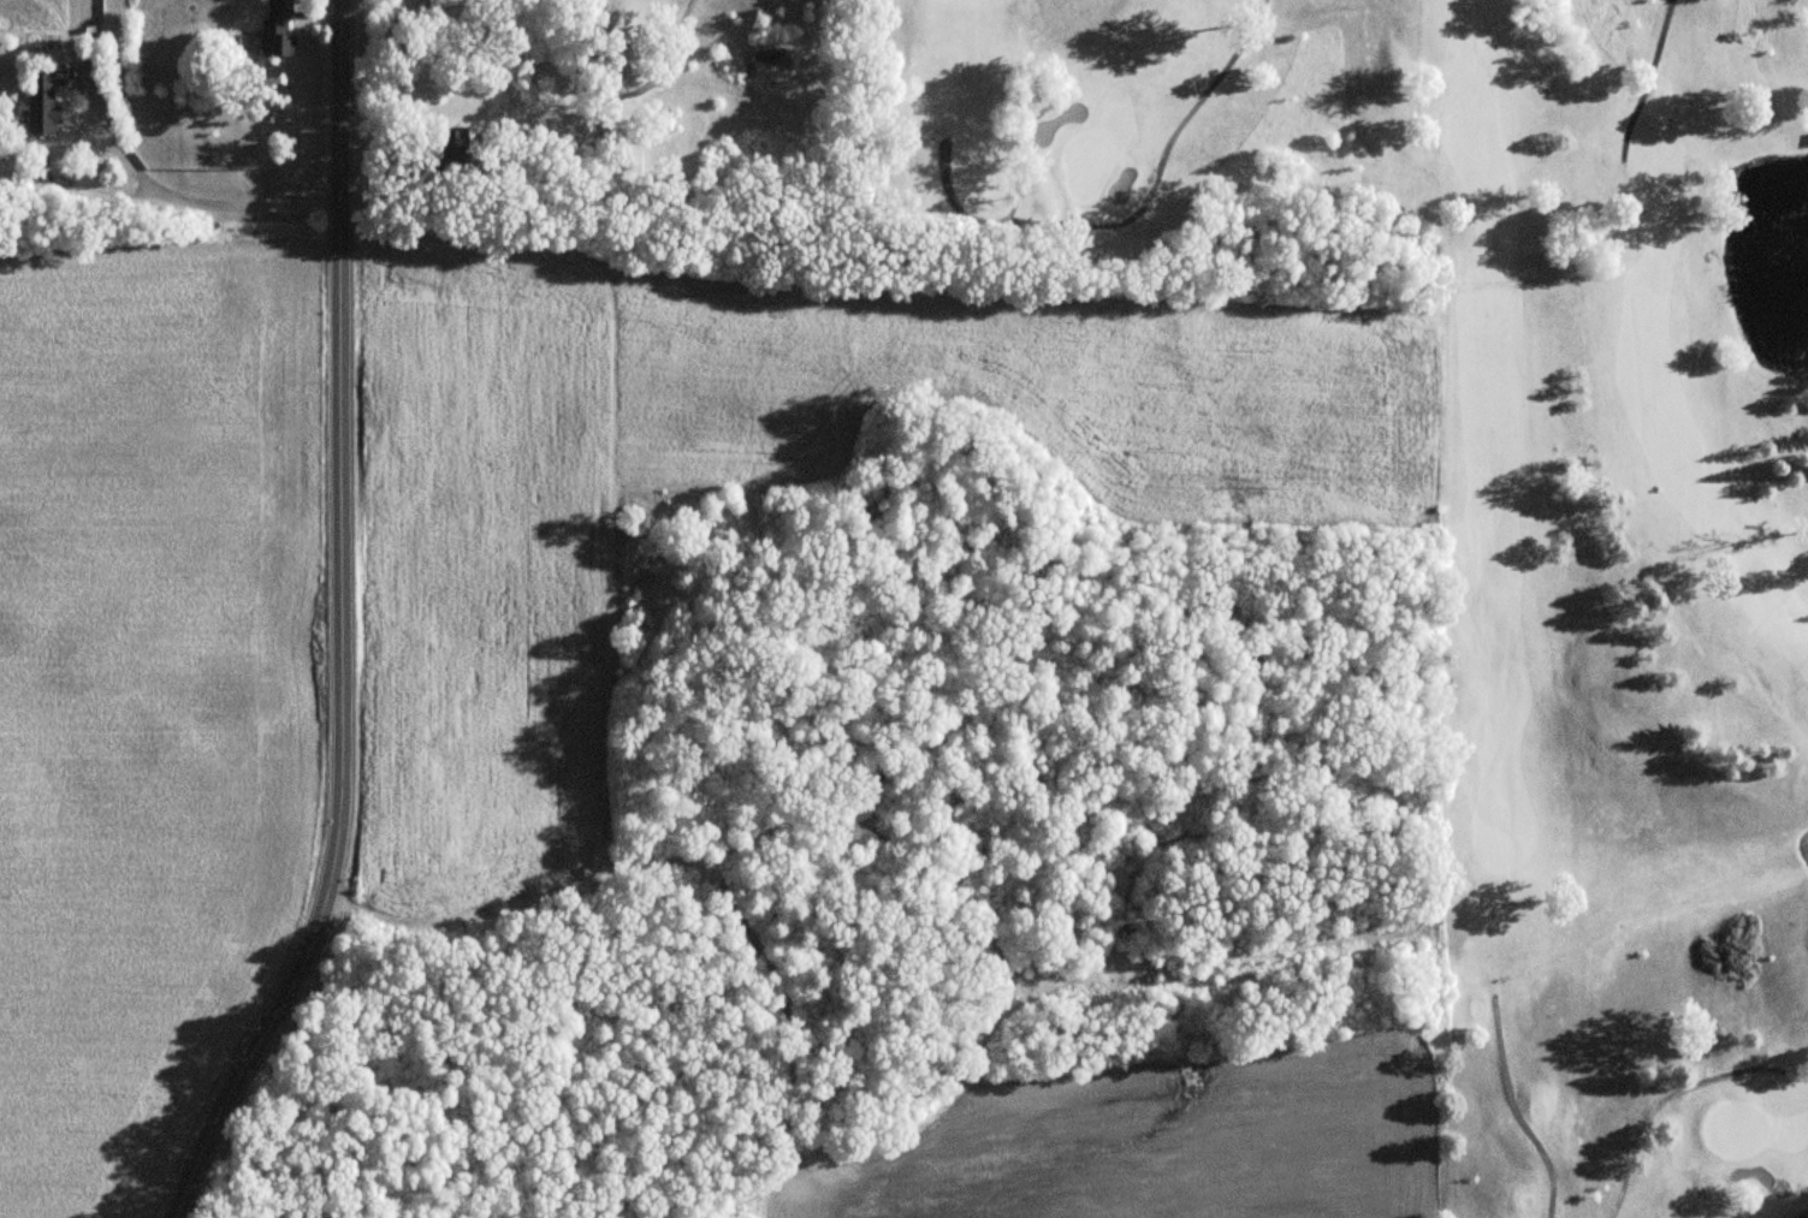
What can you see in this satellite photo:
road: (320, 16)
building: (277, 28)
road: (1648, 82)
road: (628, 93)
building: (42, 101)
road: (585, 143)
building: (444, 150)
road: (101, 186)
road: (189, 194)
road: (1132, 215)
road: (349, 628)
park: (1618, 725)
road: (1661, 1101)
road: (1513, 1111)
road: (1802, 1214)

